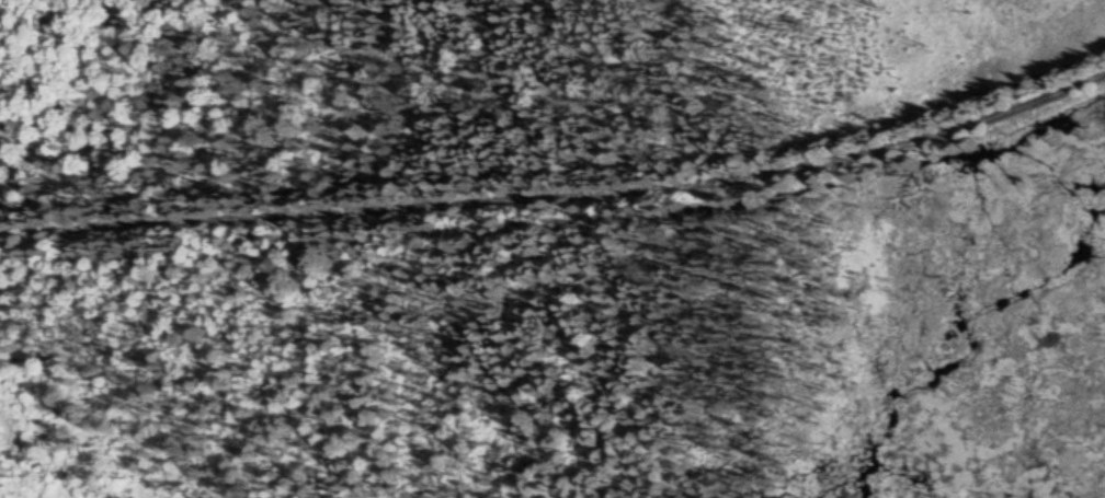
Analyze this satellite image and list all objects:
railway: (561, 206)

